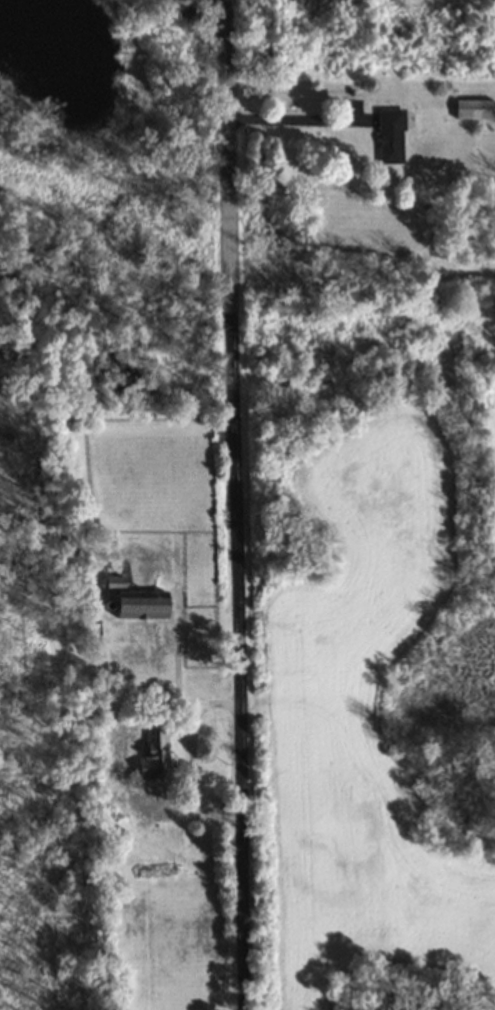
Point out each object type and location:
building: (474, 111)
road: (294, 120)
building: (390, 135)
park: (375, 504)
road: (235, 505)
building: (144, 606)
building: (154, 757)

